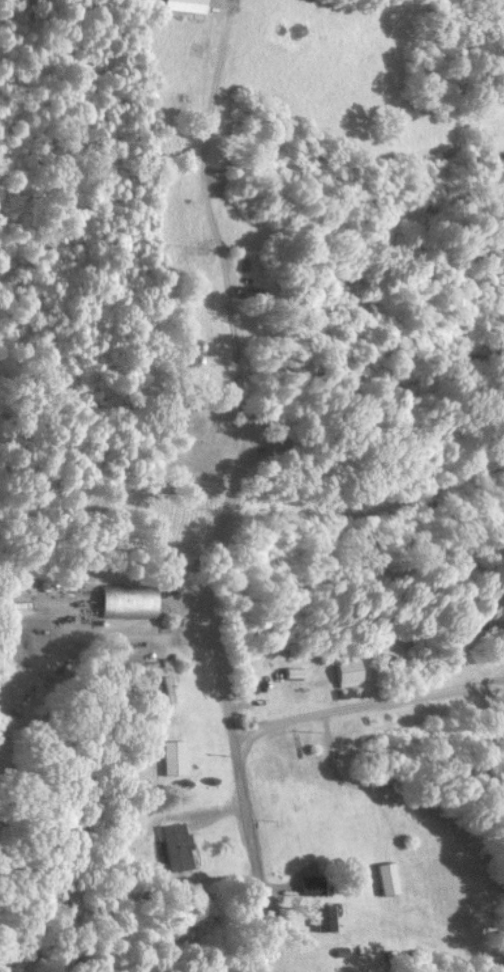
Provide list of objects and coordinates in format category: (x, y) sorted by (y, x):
building: (186, 5)
road: (239, 372)
road: (210, 582)
building: (129, 600)
building: (16, 606)
building: (350, 672)
road: (366, 694)
building: (174, 757)
building: (176, 846)
building: (388, 878)
building: (313, 885)
building: (325, 917)

